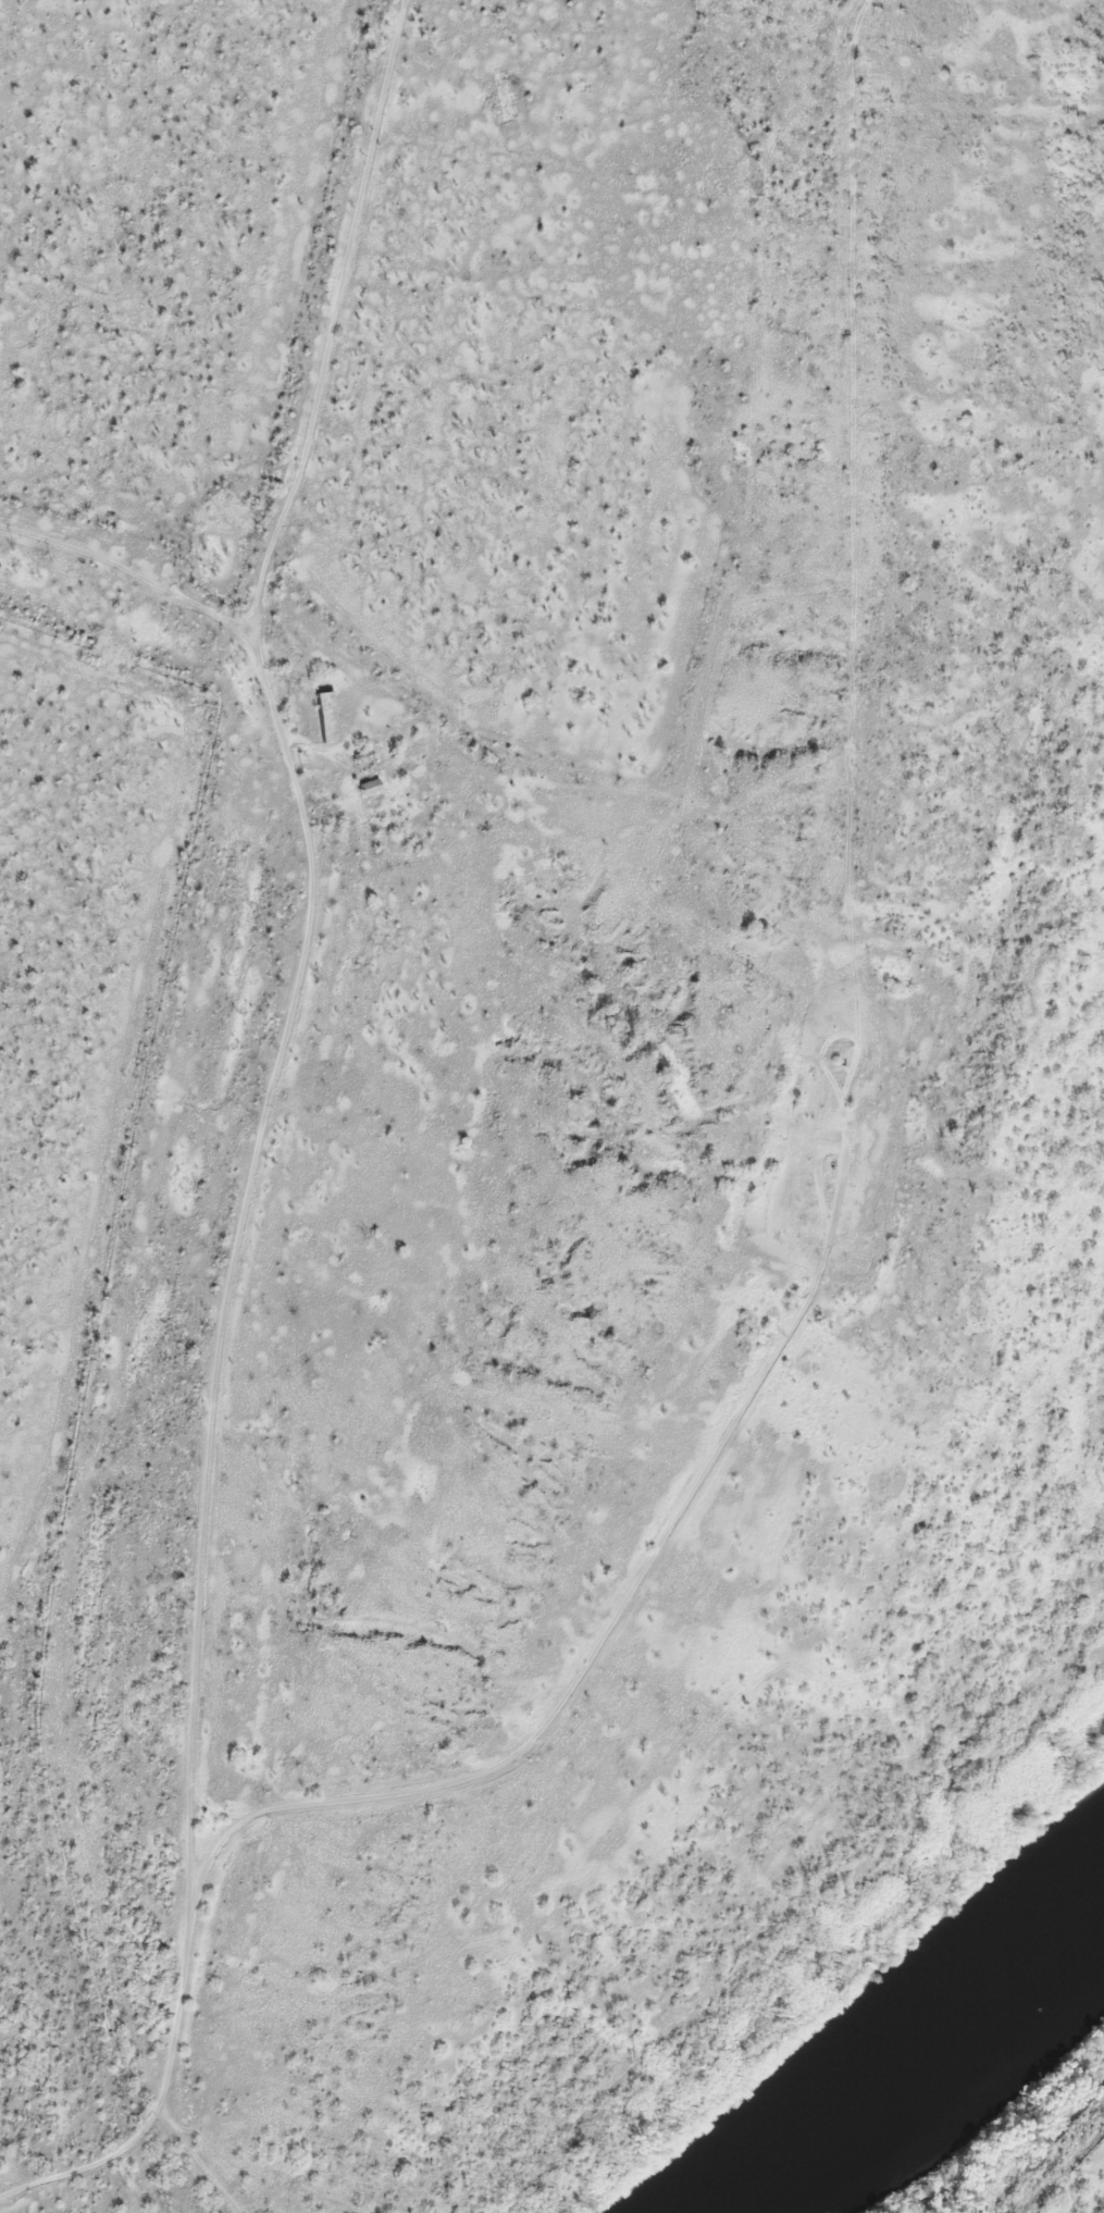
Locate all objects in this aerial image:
road: (334, 324)
road: (135, 570)
road: (207, 1462)
river: (925, 2062)

